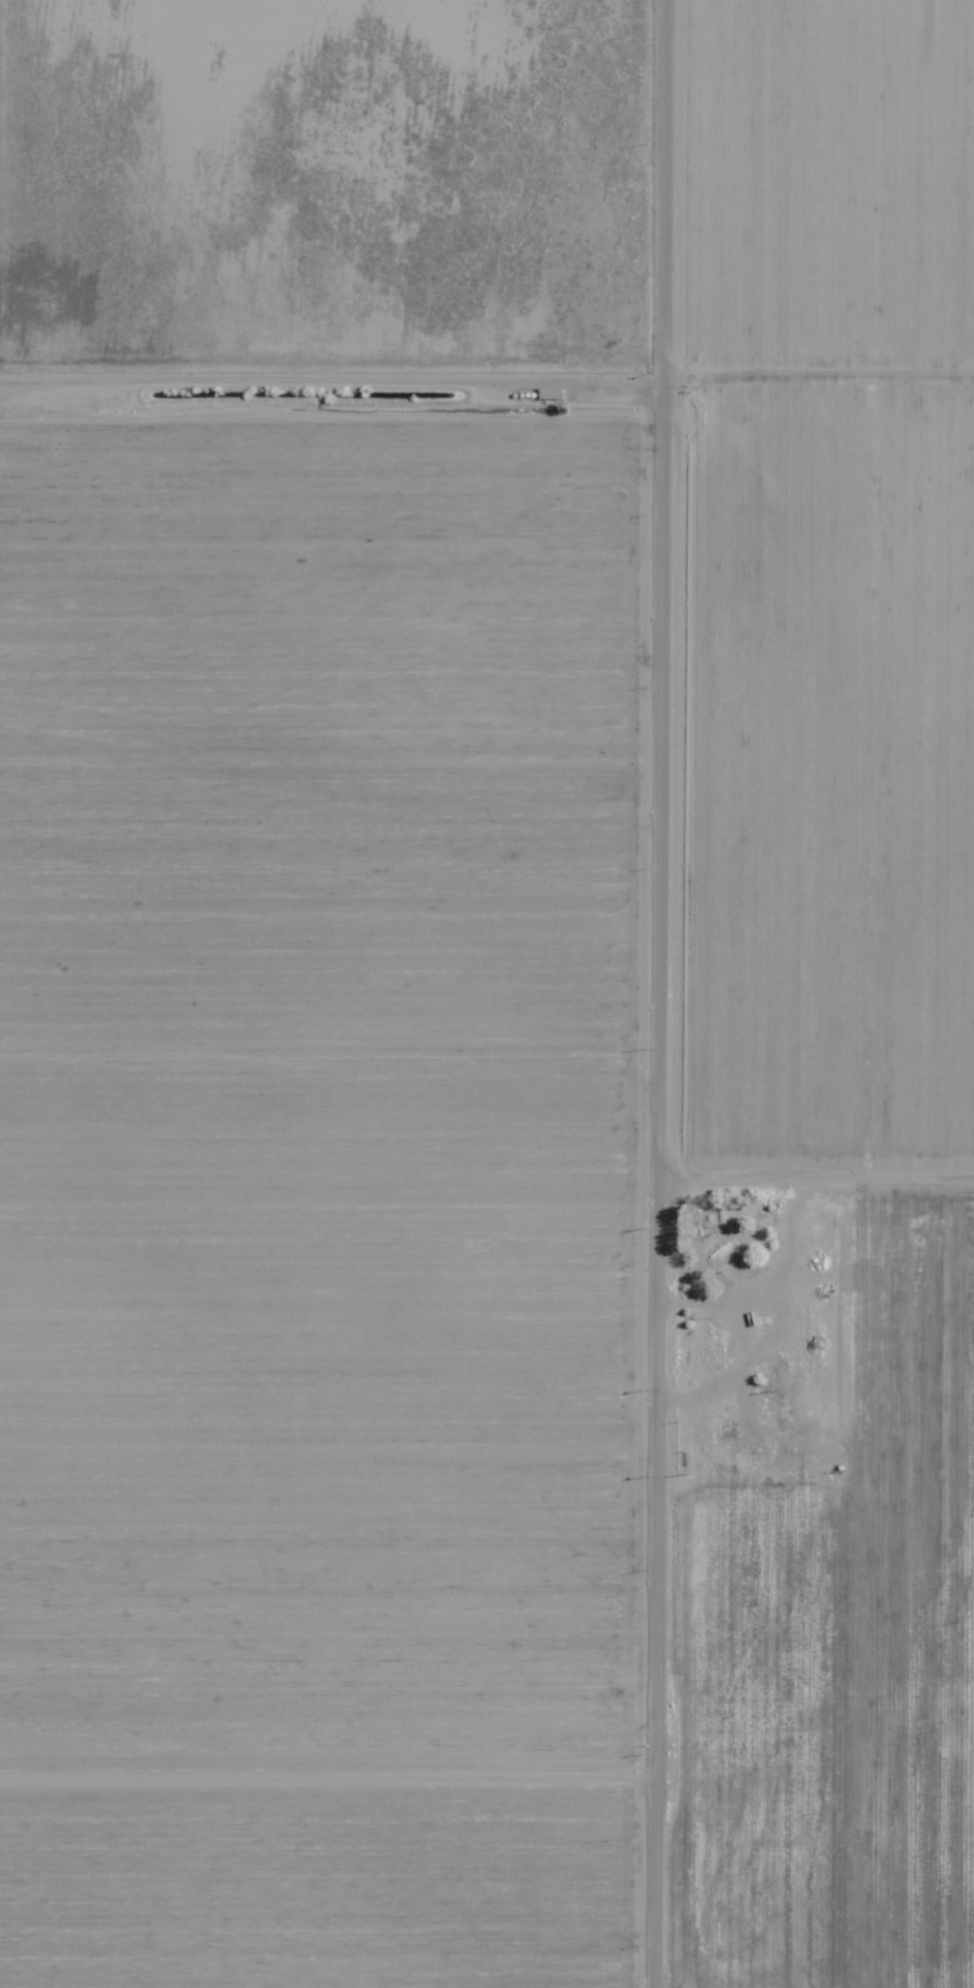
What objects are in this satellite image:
road: (649, 993)

